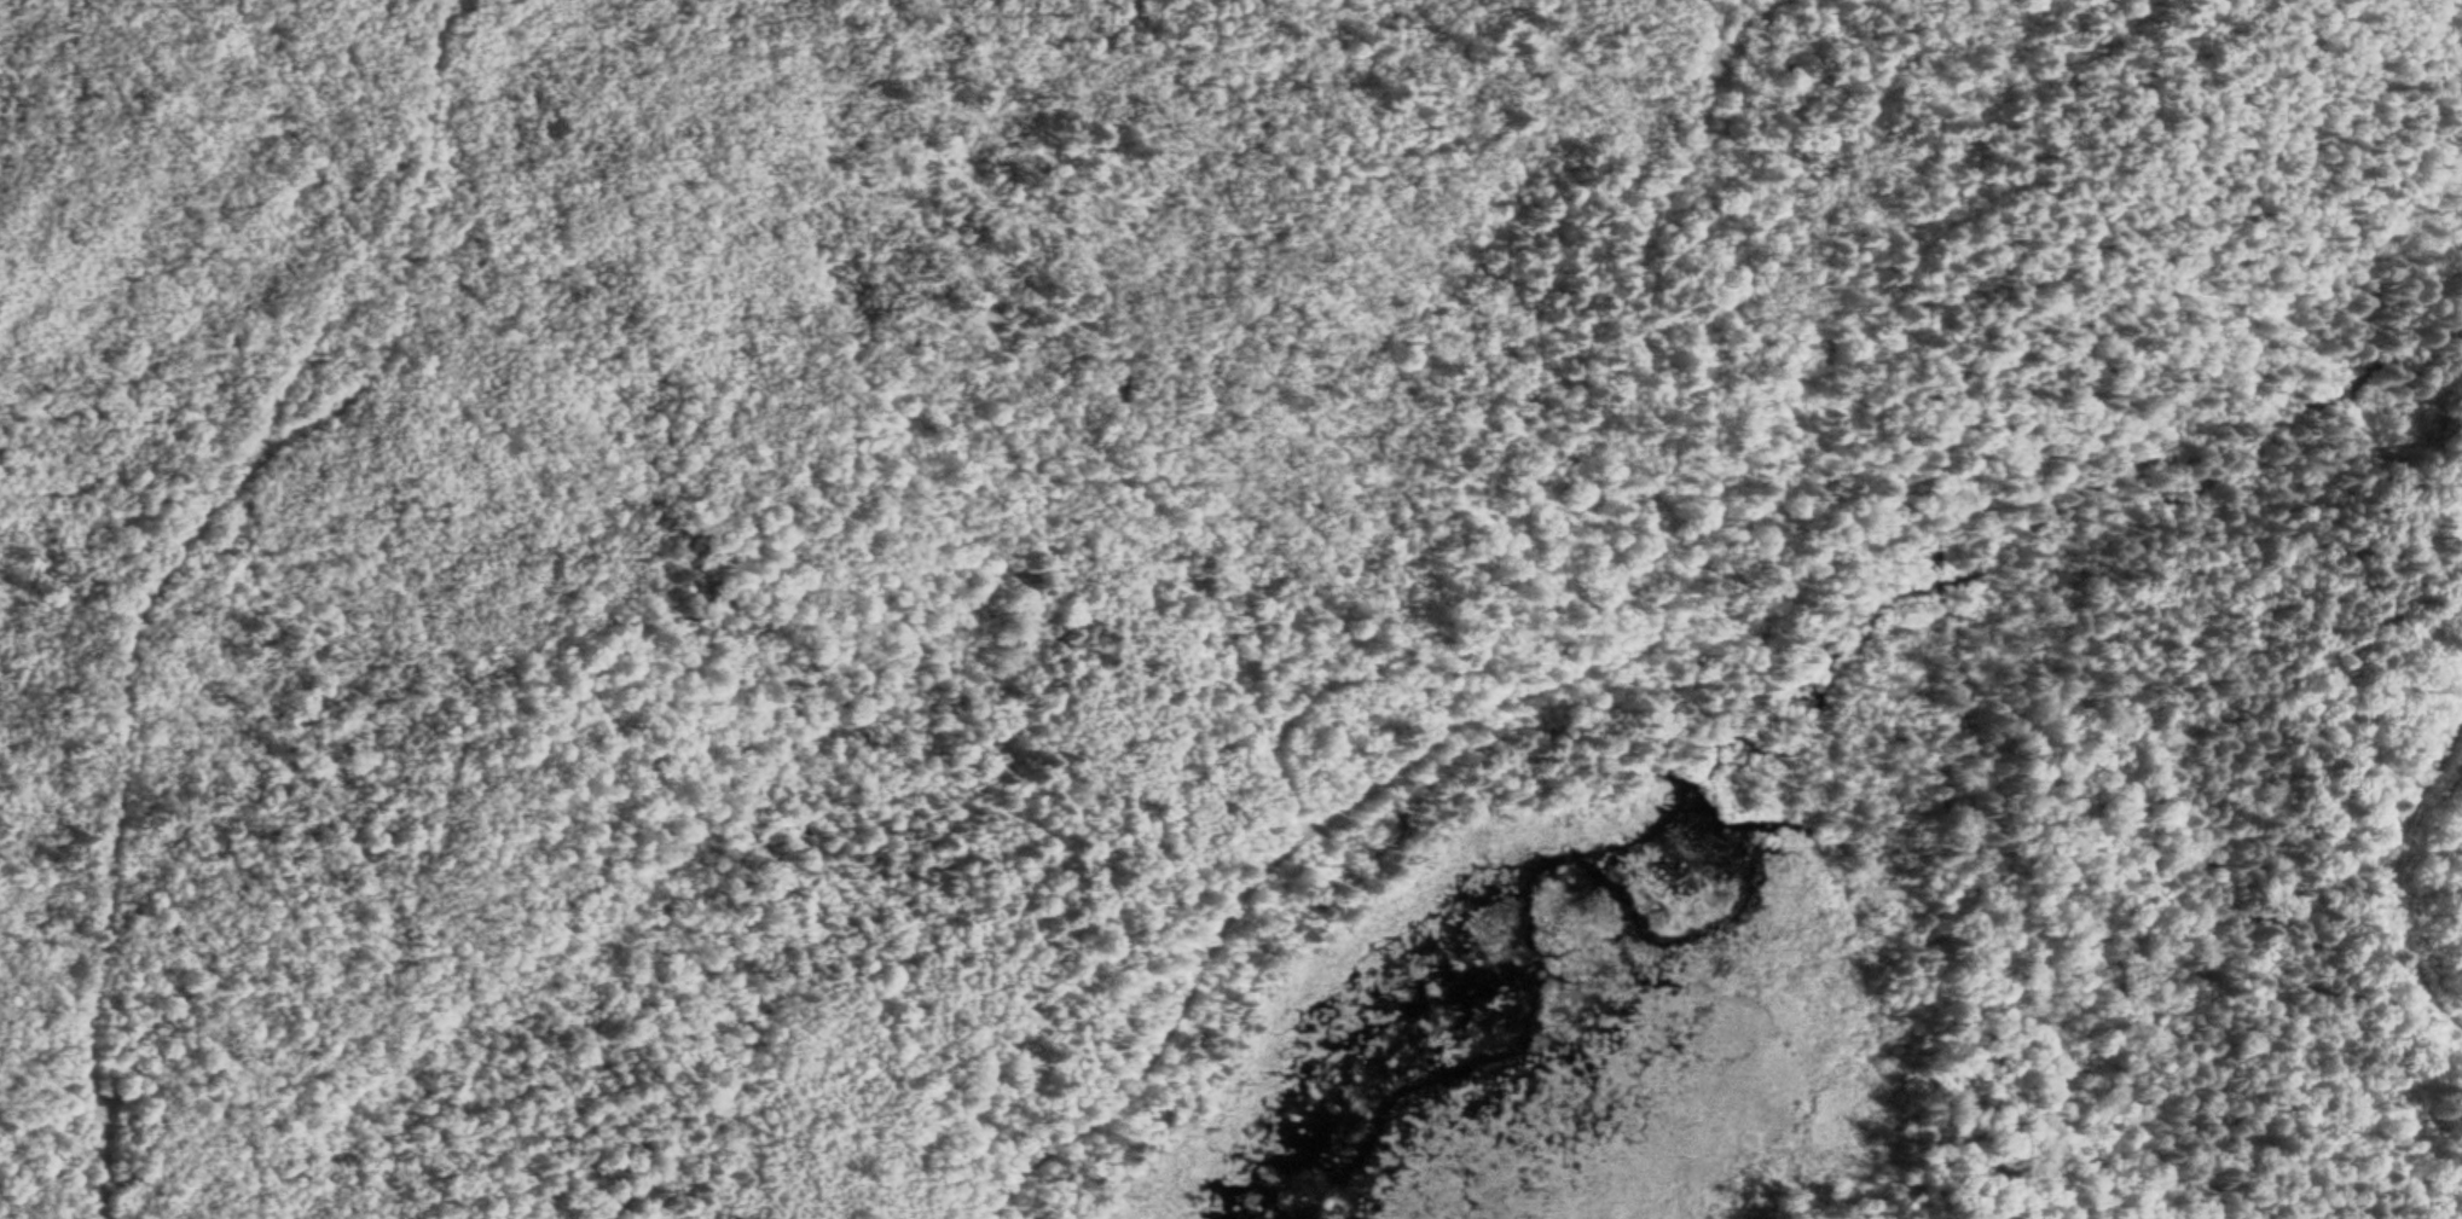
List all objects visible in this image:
road: (1016, 1154)

